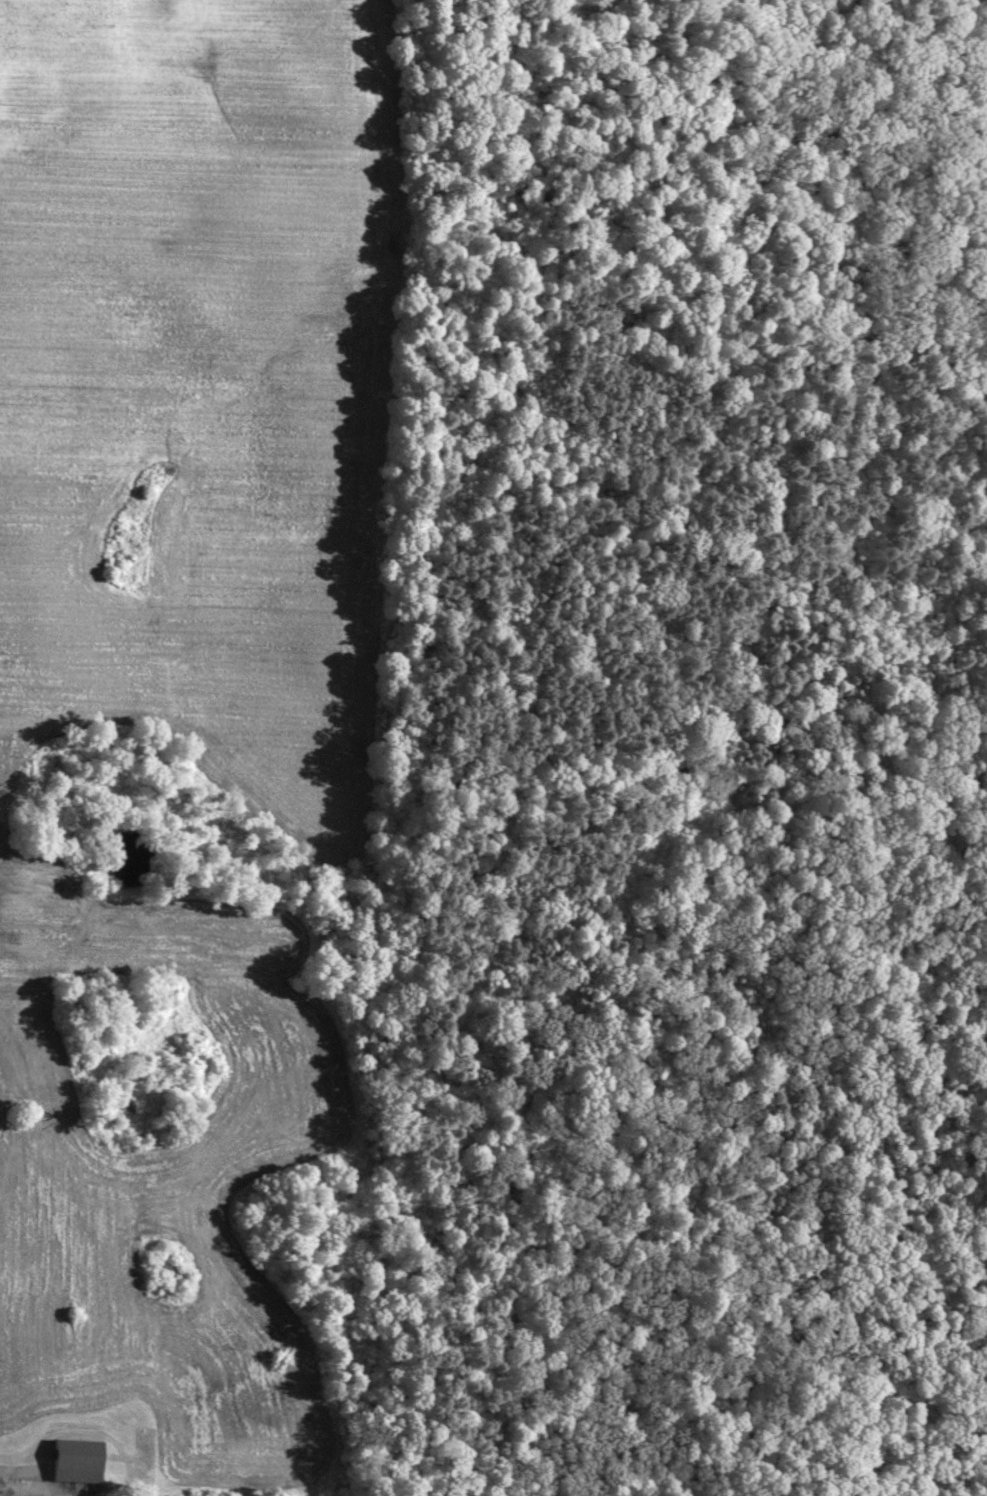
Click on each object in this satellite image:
building: (69, 1460)

